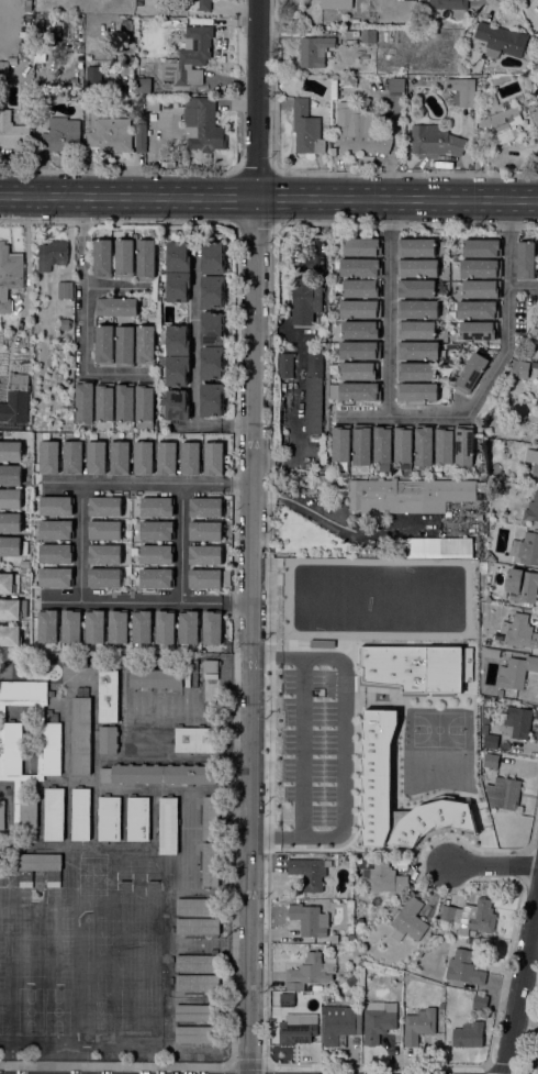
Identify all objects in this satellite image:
building: (138, 2)
road: (475, 2)
road: (534, 2)
building: (336, 3)
building: (198, 4)
building: (448, 4)
building: (27, 5)
road: (507, 10)
road: (491, 11)
building: (537, 16)
building: (79, 19)
building: (348, 23)
building: (126, 24)
building: (38, 25)
building: (368, 36)
building: (501, 40)
building: (537, 45)
building: (314, 51)
building: (189, 57)
building: (3, 68)
building: (91, 78)
building: (500, 78)
building: (395, 84)
building: (143, 85)
building: (462, 90)
building: (139, 111)
building: (536, 115)
building: (202, 124)
building: (501, 125)
building: (306, 129)
building: (13, 132)
building: (361, 132)
building: (60, 134)
building: (111, 134)
building: (141, 137)
building: (435, 140)
building: (333, 152)
road: (115, 171)
road: (256, 173)
road: (322, 173)
road: (98, 197)
road: (226, 197)
road: (280, 198)
road: (421, 199)
road: (397, 224)
building: (361, 246)
building: (416, 247)
building: (482, 247)
building: (52, 254)
building: (178, 256)
building: (212, 257)
building: (102, 258)
building: (124, 258)
building: (146, 259)
building: (526, 261)
building: (360, 267)
building: (417, 268)
building: (480, 268)
building: (9, 274)
building: (537, 274)
building: (537, 275)
road: (85, 285)
building: (177, 286)
road: (110, 287)
building: (361, 287)
building: (416, 288)
building: (65, 289)
building: (481, 289)
building: (212, 291)
building: (305, 297)
building: (116, 307)
road: (389, 307)
building: (360, 309)
building: (417, 310)
building: (478, 310)
road: (507, 313)
building: (64, 324)
building: (212, 328)
building: (361, 330)
building: (416, 331)
building: (479, 331)
building: (321, 333)
building: (177, 340)
road: (195, 340)
building: (103, 343)
building: (145, 344)
building: (124, 346)
building: (359, 350)
building: (416, 351)
building: (212, 363)
building: (284, 365)
building: (519, 368)
building: (176, 369)
building: (359, 370)
building: (415, 372)
building: (471, 372)
road: (116, 373)
building: (282, 386)
building: (355, 390)
building: (416, 391)
building: (313, 398)
building: (211, 399)
building: (15, 400)
building: (85, 400)
building: (105, 401)
building: (125, 401)
building: (177, 405)
building: (145, 406)
road: (401, 416)
building: (537, 425)
road: (210, 427)
building: (537, 438)
building: (340, 445)
building: (445, 445)
building: (361, 446)
building: (424, 446)
building: (463, 446)
building: (403, 447)
building: (382, 449)
building: (10, 451)
building: (48, 457)
building: (72, 457)
building: (96, 458)
building: (119, 458)
building: (143, 458)
building: (166, 458)
building: (190, 458)
building: (213, 458)
building: (534, 464)
building: (10, 475)
road: (148, 483)
building: (410, 492)
building: (10, 498)
building: (56, 506)
building: (104, 507)
building: (157, 507)
building: (205, 507)
building: (531, 508)
building: (10, 523)
building: (55, 529)
building: (156, 530)
building: (104, 531)
building: (205, 531)
road: (253, 536)
road: (80, 542)
road: (180, 543)
building: (10, 546)
building: (439, 549)
building: (525, 549)
building: (55, 553)
building: (104, 554)
building: (156, 555)
building: (205, 555)
building: (490, 556)
building: (385, 575)
building: (55, 577)
building: (107, 578)
building: (156, 578)
building: (209, 578)
building: (5, 584)
building: (522, 585)
road: (146, 602)
building: (12, 609)
building: (315, 618)
building: (361, 627)
building: (188, 628)
building: (212, 629)
building: (47, 630)
building: (70, 630)
building: (94, 630)
building: (117, 630)
building: (142, 631)
building: (165, 631)
building: (519, 632)
building: (10, 639)
building: (211, 666)
building: (414, 667)
building: (516, 672)
building: (155, 678)
building: (493, 693)
building: (108, 695)
building: (485, 710)
building: (516, 722)
building: (80, 735)
building: (108, 739)
building: (489, 739)
building: (195, 740)
road: (303, 746)
road: (343, 746)
building: (47, 748)
building: (491, 760)
building: (159, 774)
building: (377, 774)
building: (508, 791)
building: (54, 813)
building: (80, 813)
building: (1, 815)
building: (109, 818)
building: (138, 818)
building: (211, 818)
building: (431, 821)
building: (168, 826)
road: (530, 832)
building: (40, 862)
building: (210, 864)
road: (490, 865)
building: (309, 872)
building: (384, 877)
building: (25, 878)
building: (54, 878)
building: (197, 906)
building: (350, 916)
building: (471, 916)
building: (309, 919)
building: (408, 920)
building: (359, 921)
building: (198, 926)
building: (350, 937)
building: (197, 962)
building: (464, 967)
building: (310, 972)
building: (394, 981)
building: (197, 982)
road: (520, 988)
building: (328, 998)
building: (287, 999)
building: (480, 1001)
building: (400, 1009)
building: (197, 1012)
building: (378, 1020)
building: (338, 1023)
building: (418, 1026)
building: (294, 1031)
road: (529, 1032)
building: (195, 1033)
building: (468, 1034)
road: (525, 1037)

